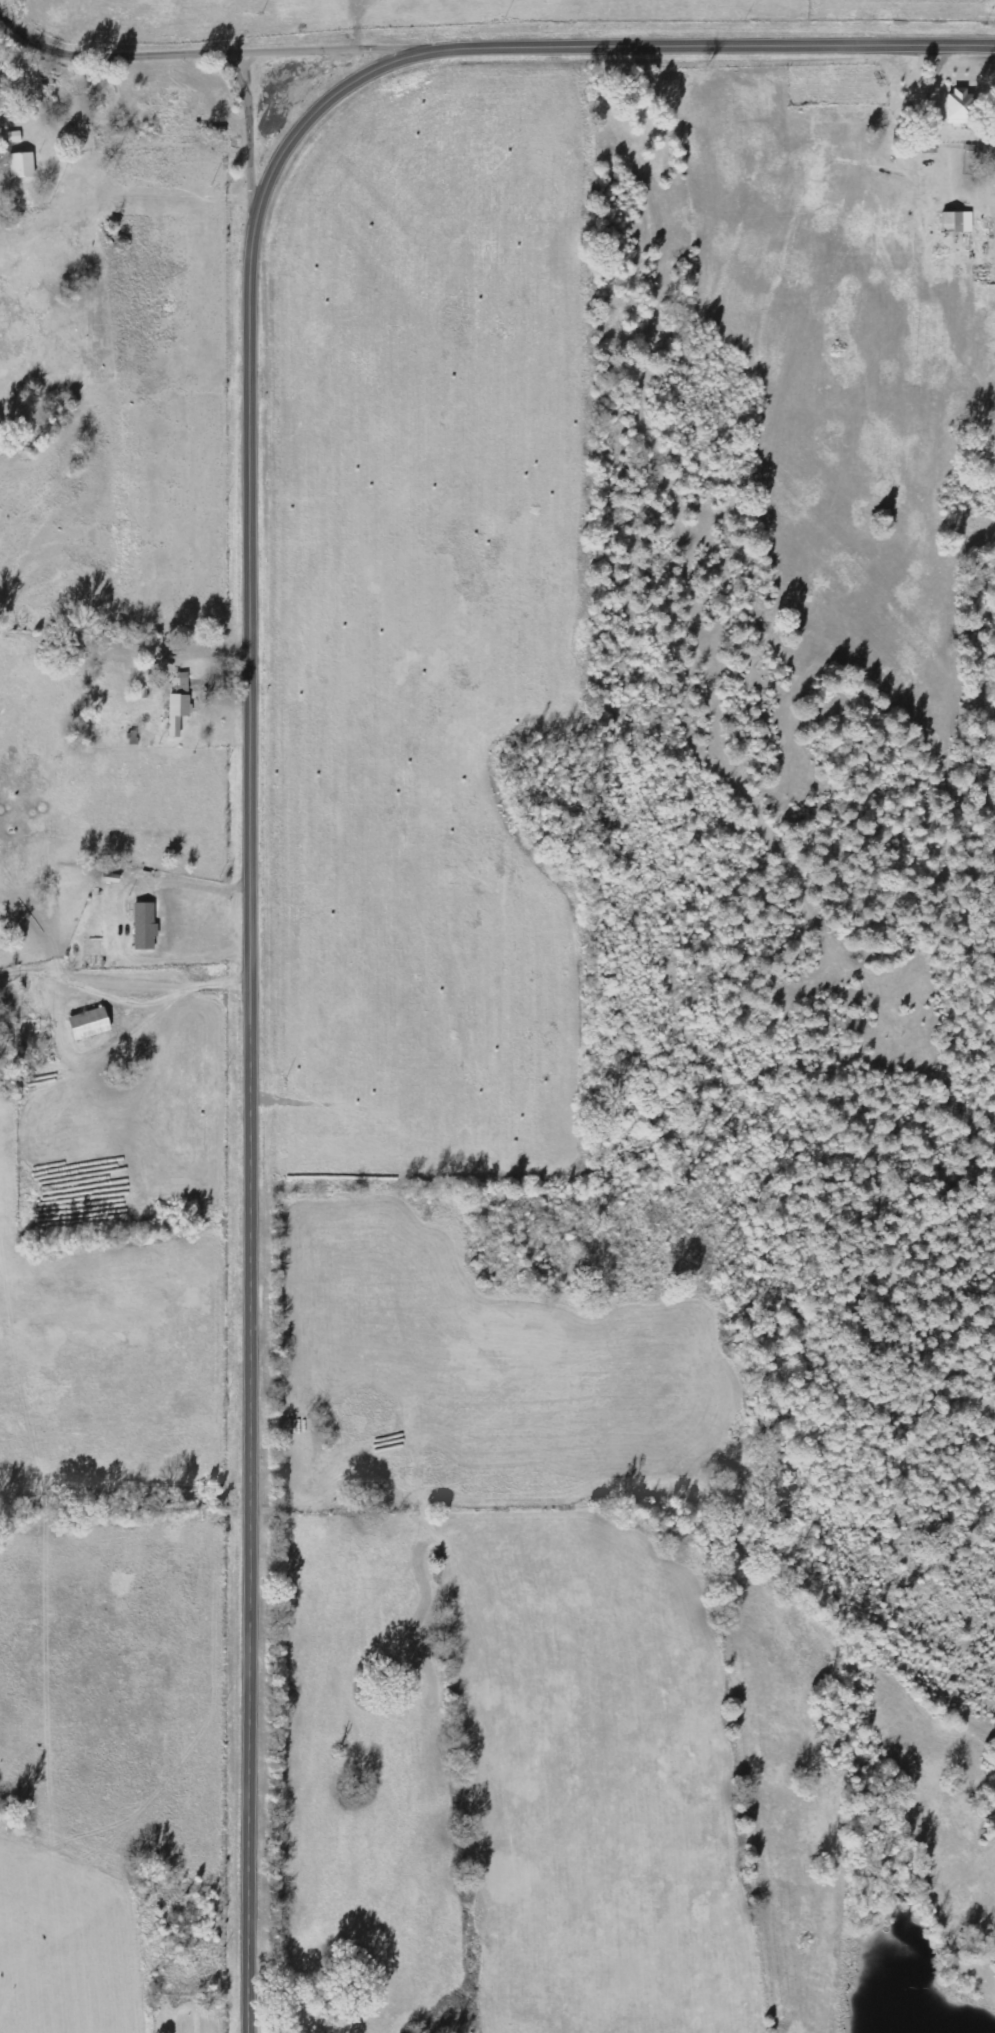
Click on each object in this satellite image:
road: (125, 44)
road: (341, 46)
building: (959, 107)
building: (200, 110)
building: (170, 111)
road: (259, 125)
building: (956, 221)
building: (177, 712)
road: (252, 715)
building: (144, 926)
building: (88, 1024)

